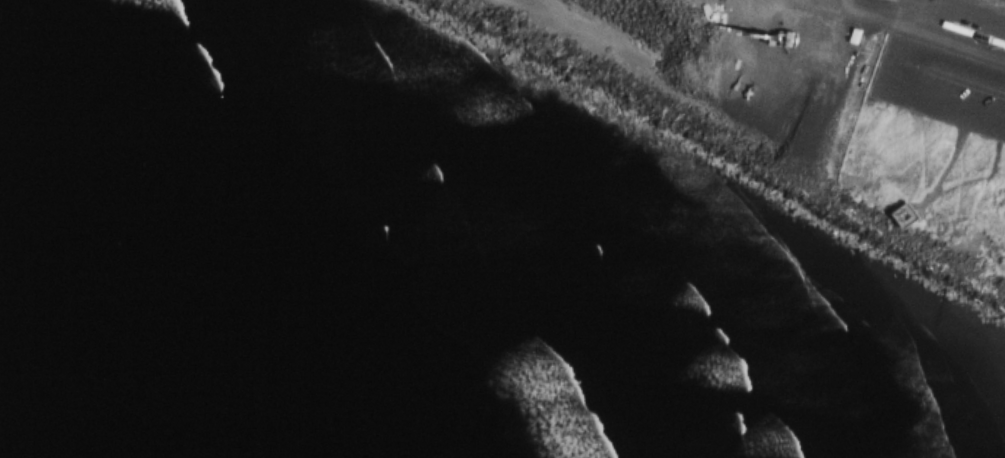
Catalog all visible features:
road: (863, 11)
road: (967, 12)
road: (954, 53)
parking lot: (947, 64)
road: (903, 92)
road: (924, 154)
road: (952, 158)
road: (998, 169)
road: (979, 178)
building: (907, 214)

